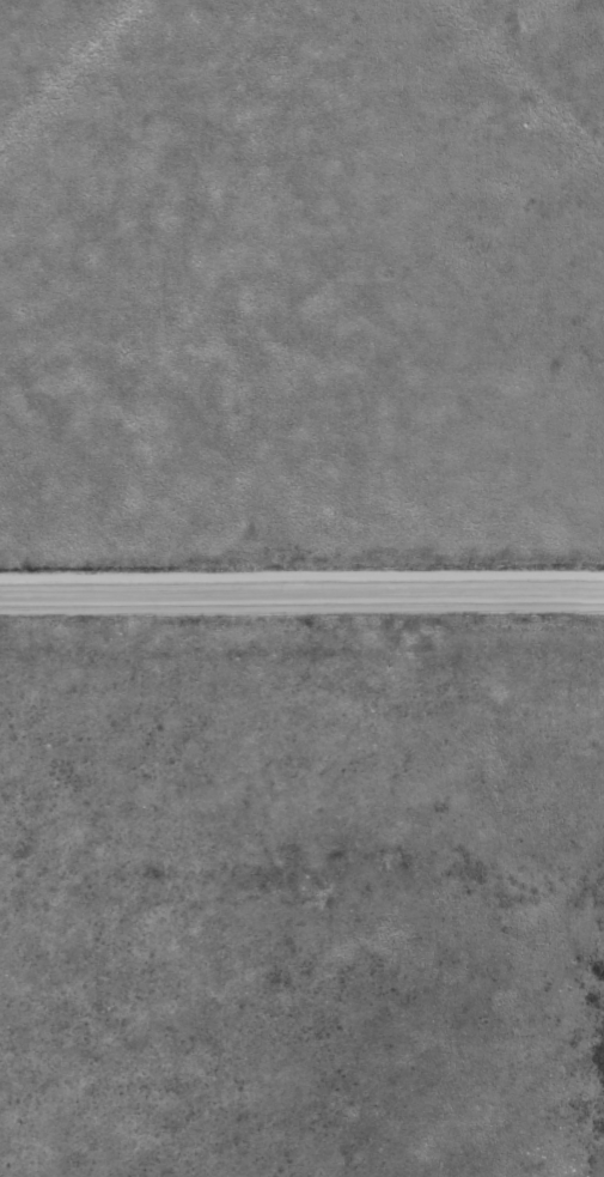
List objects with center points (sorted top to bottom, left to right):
road: (301, 637)

